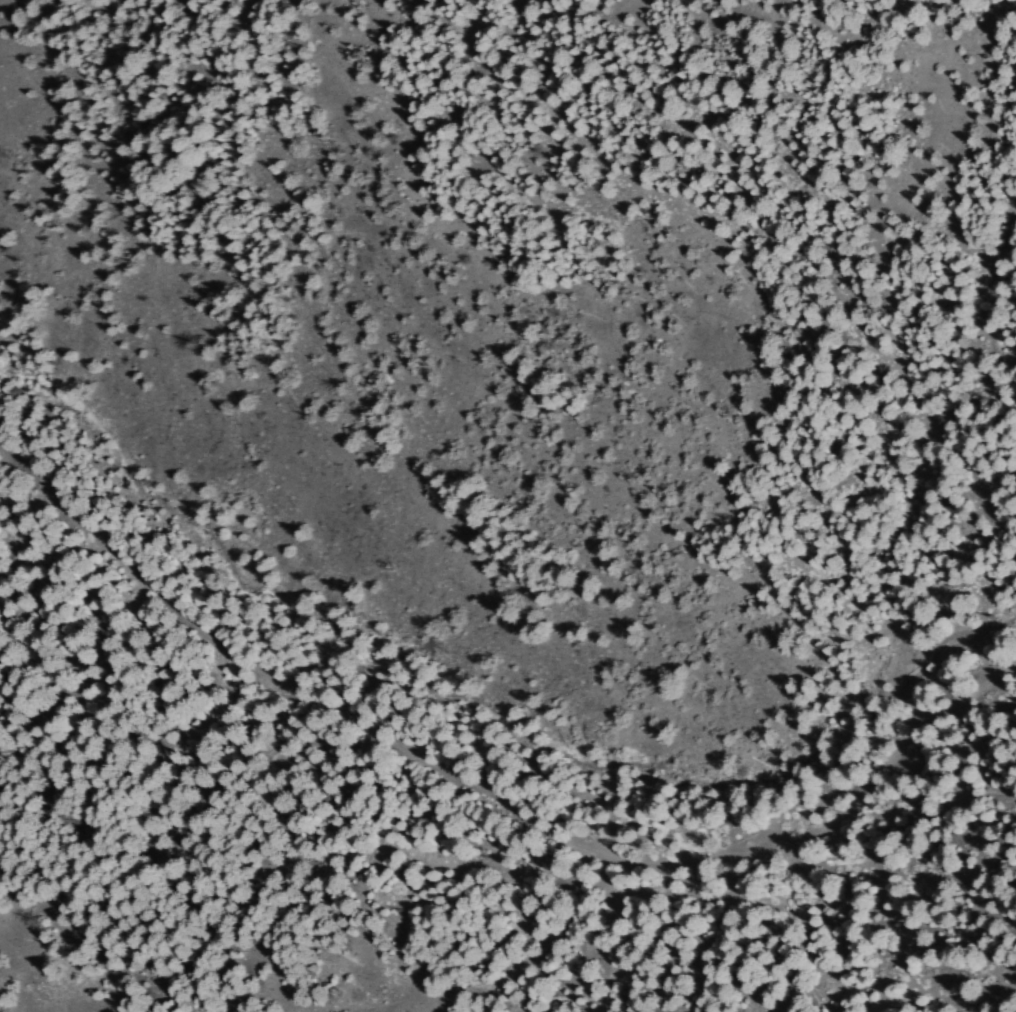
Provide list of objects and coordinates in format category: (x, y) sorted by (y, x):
road: (483, 793)

